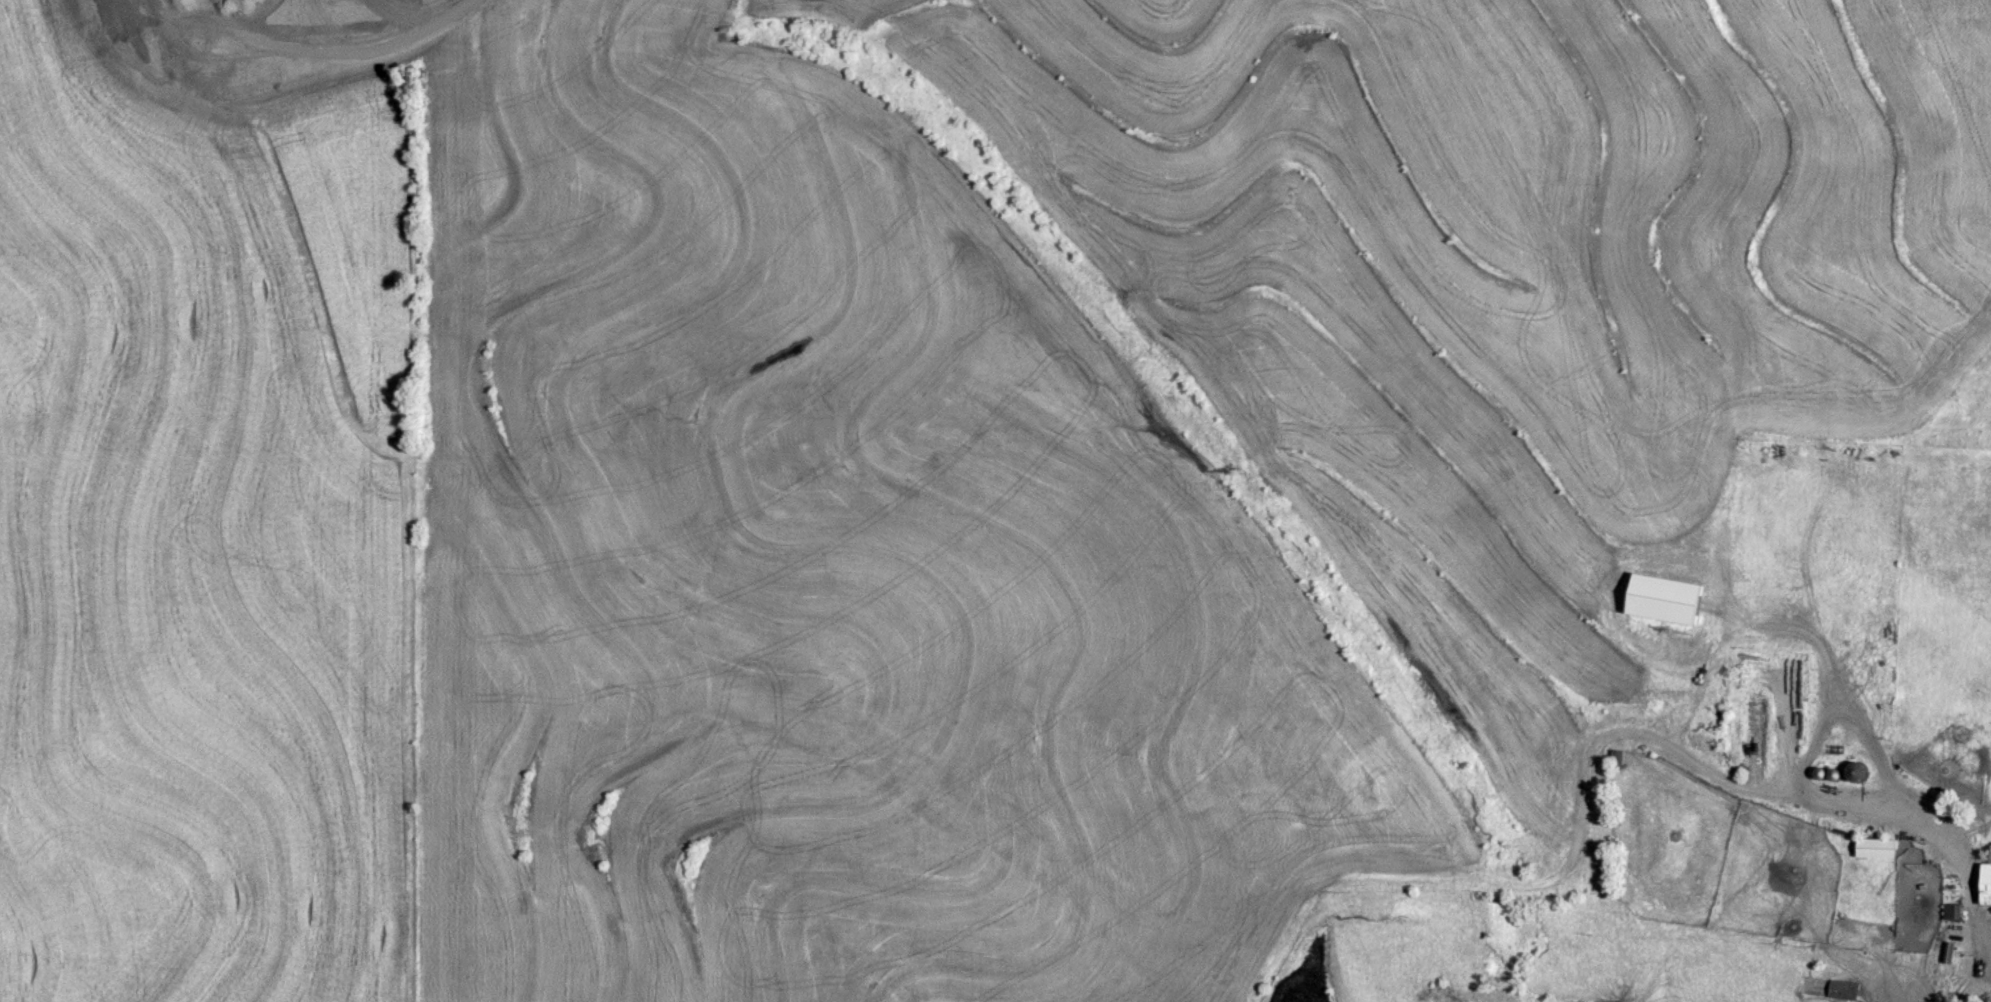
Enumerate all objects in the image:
building: (1736, 625)
building: (1612, 756)
building: (1854, 770)
building: (1874, 847)
building: (1985, 883)

